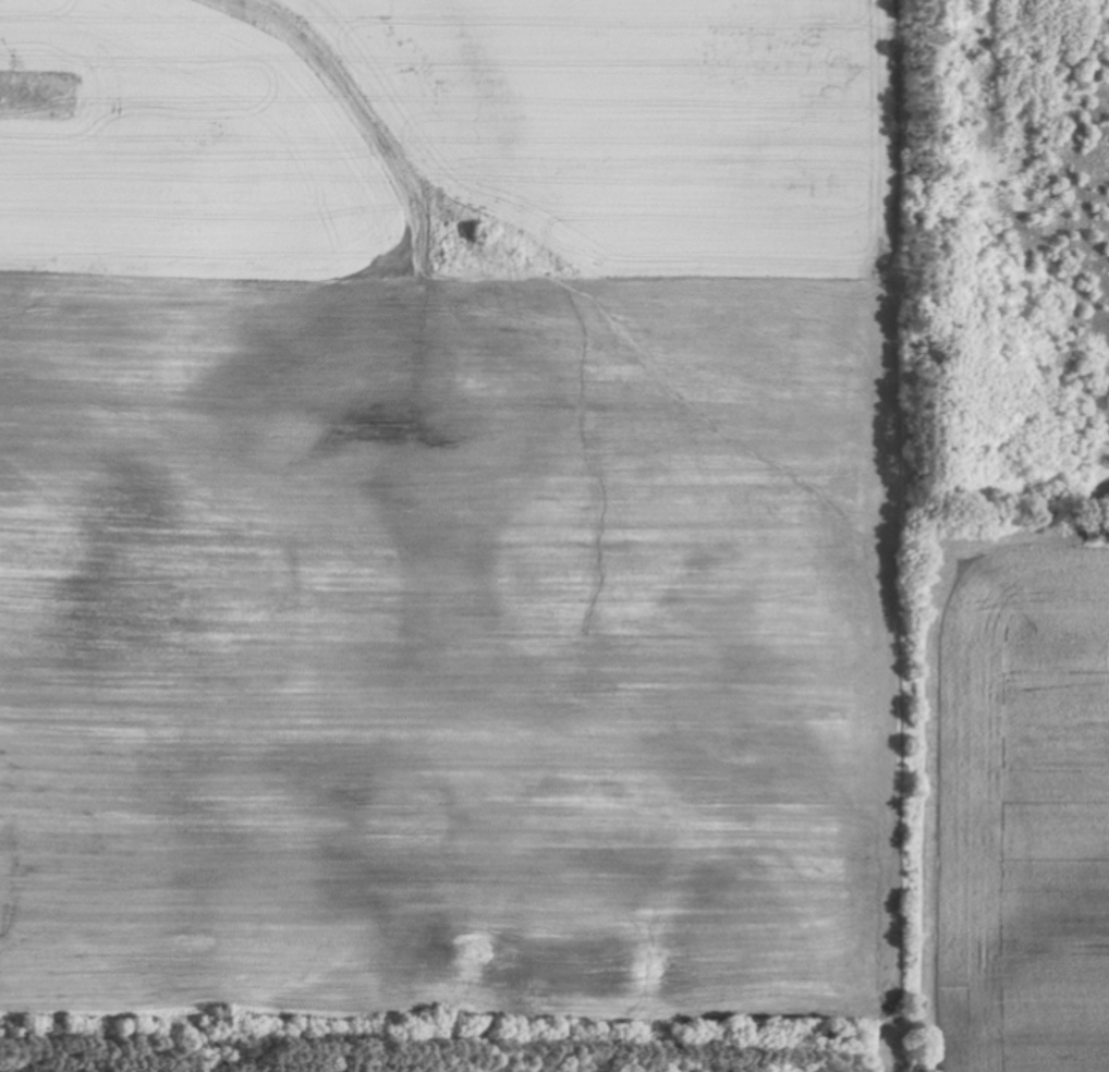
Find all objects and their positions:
crop: (509, 490)

